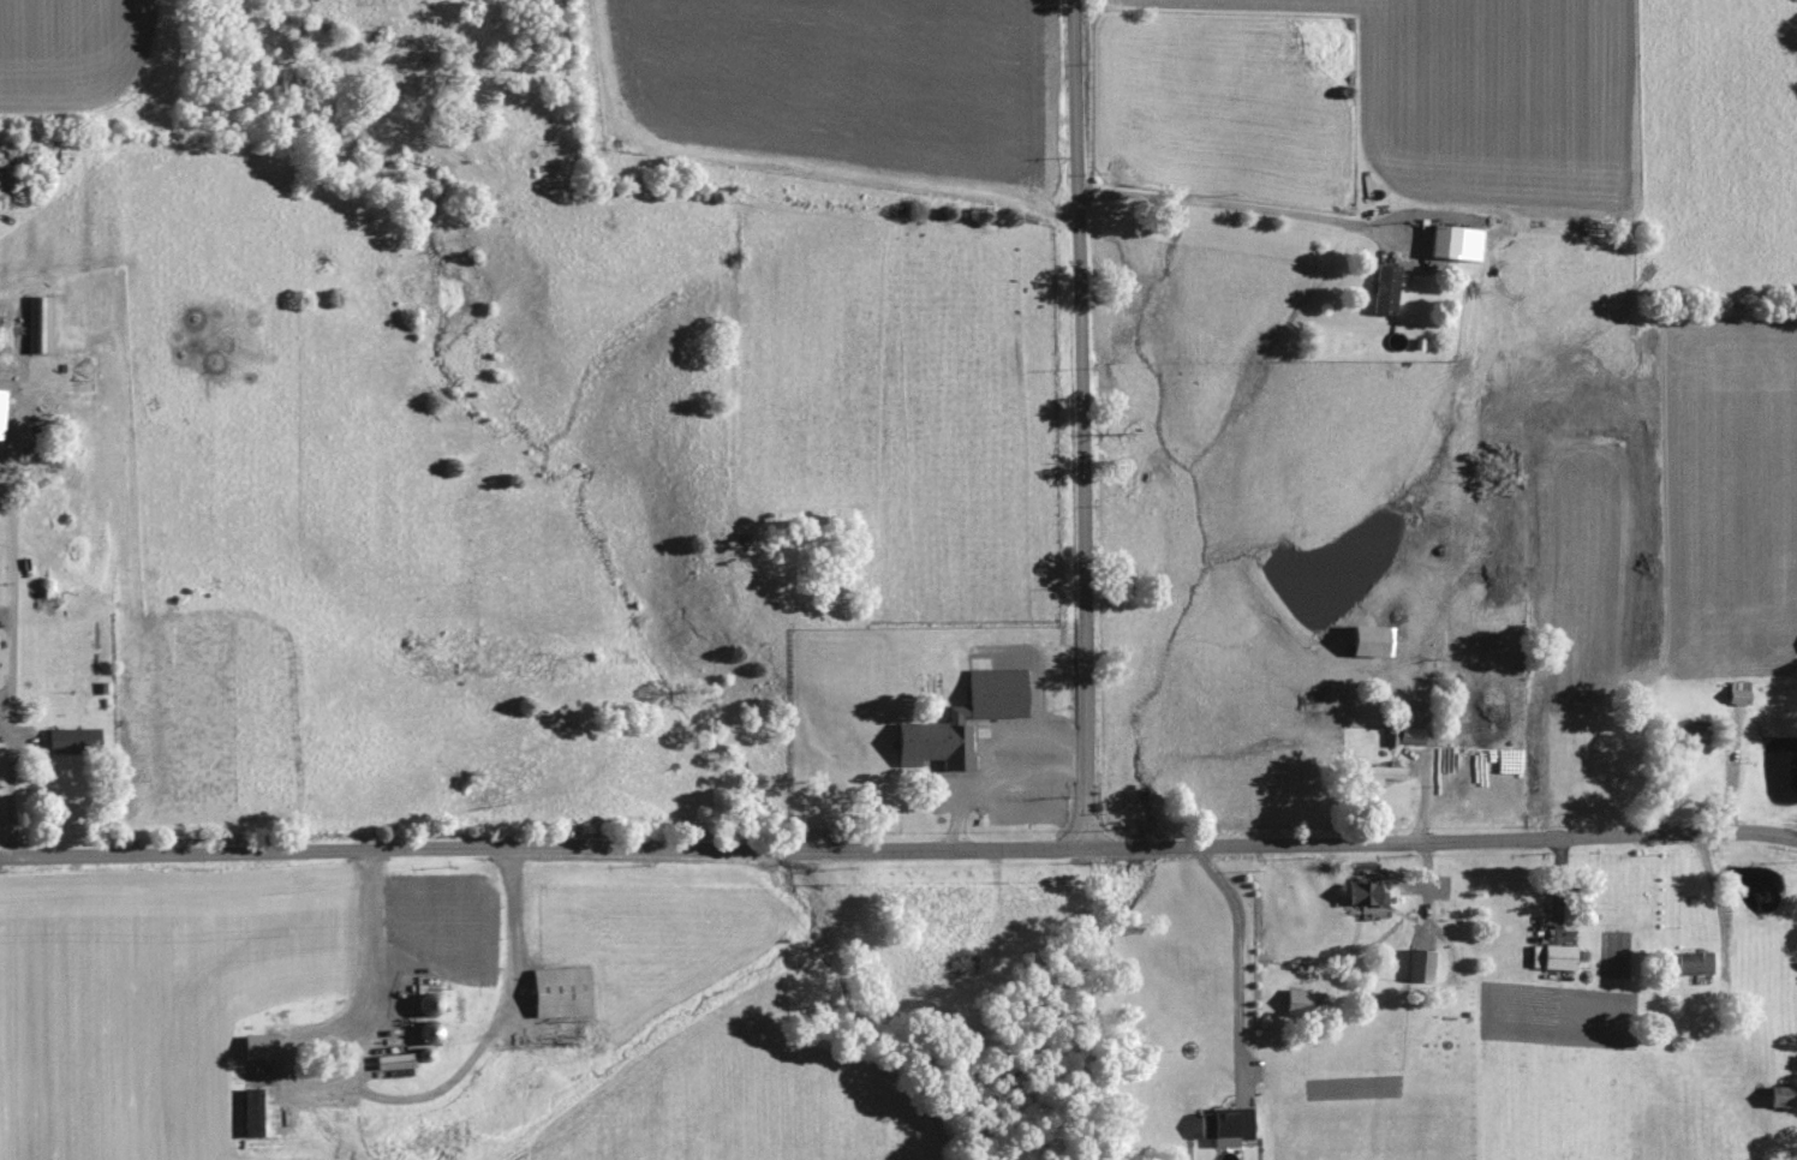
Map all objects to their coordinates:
building: (1446, 240)
building: (1379, 288)
building: (40, 322)
building: (70, 372)
building: (2, 411)
road: (1076, 420)
building: (1362, 639)
building: (965, 718)
building: (1676, 730)
building: (1405, 733)
building: (74, 737)
building: (1373, 771)
road: (898, 842)
building: (1359, 891)
building: (1550, 956)
building: (1689, 962)
building: (1414, 964)
building: (565, 991)
building: (1291, 999)
building: (261, 1045)
building: (1774, 1095)
building: (258, 1112)
building: (1228, 1125)

